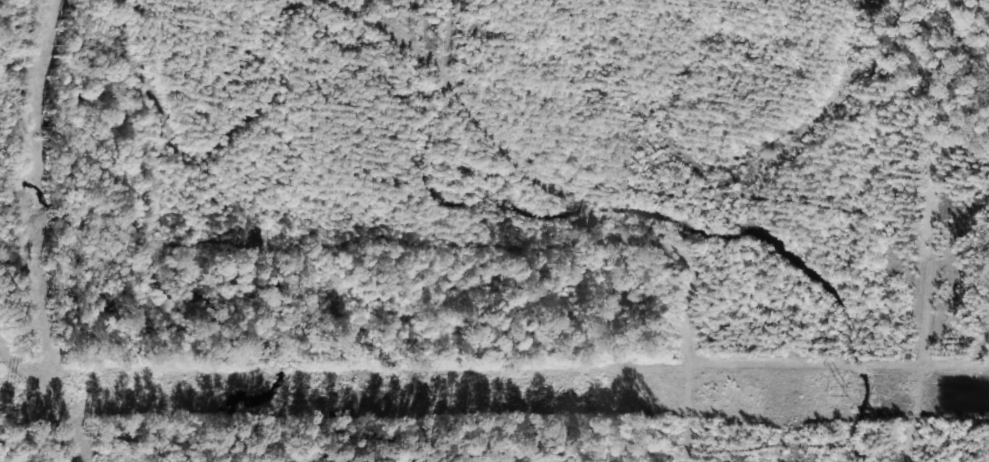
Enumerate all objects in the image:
power tower: (29, 392)
power tower: (443, 392)
power tower: (844, 392)

